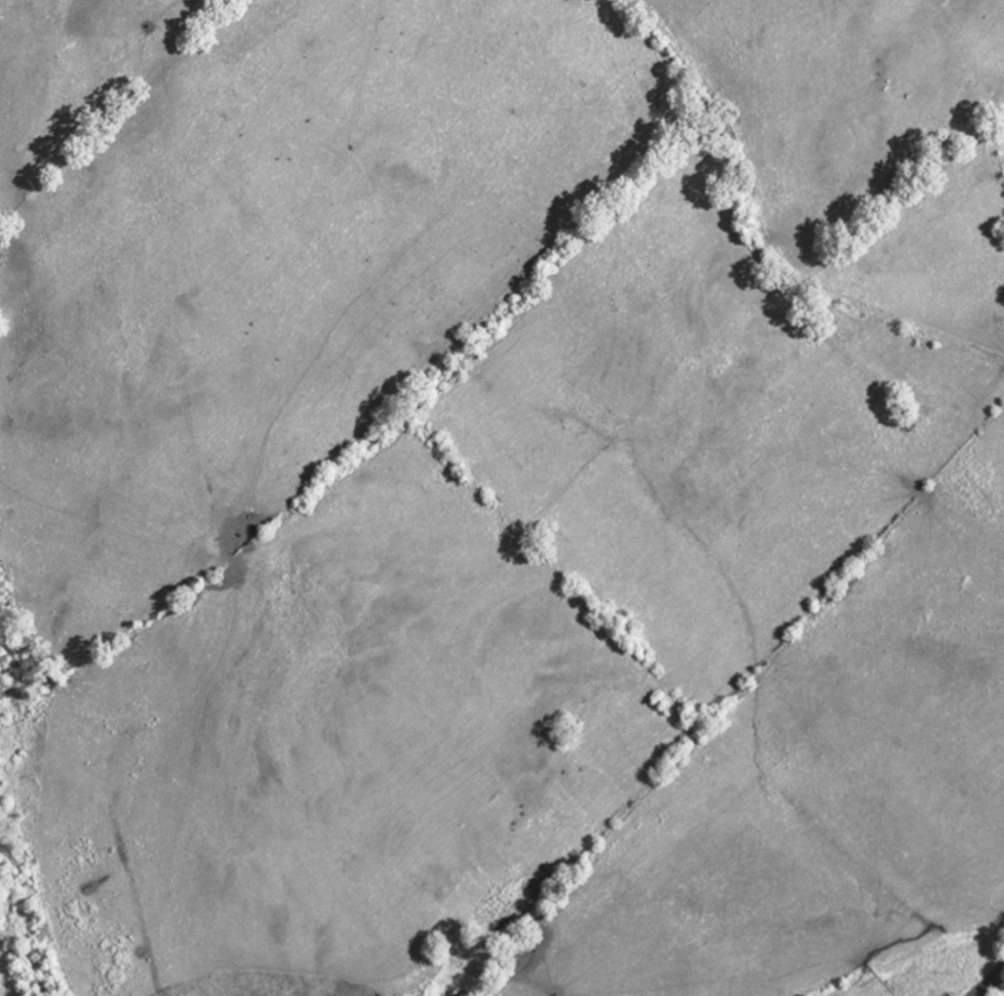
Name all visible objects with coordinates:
crop: (506, 490)
road: (151, 963)
road: (987, 978)
crop: (6, 980)

